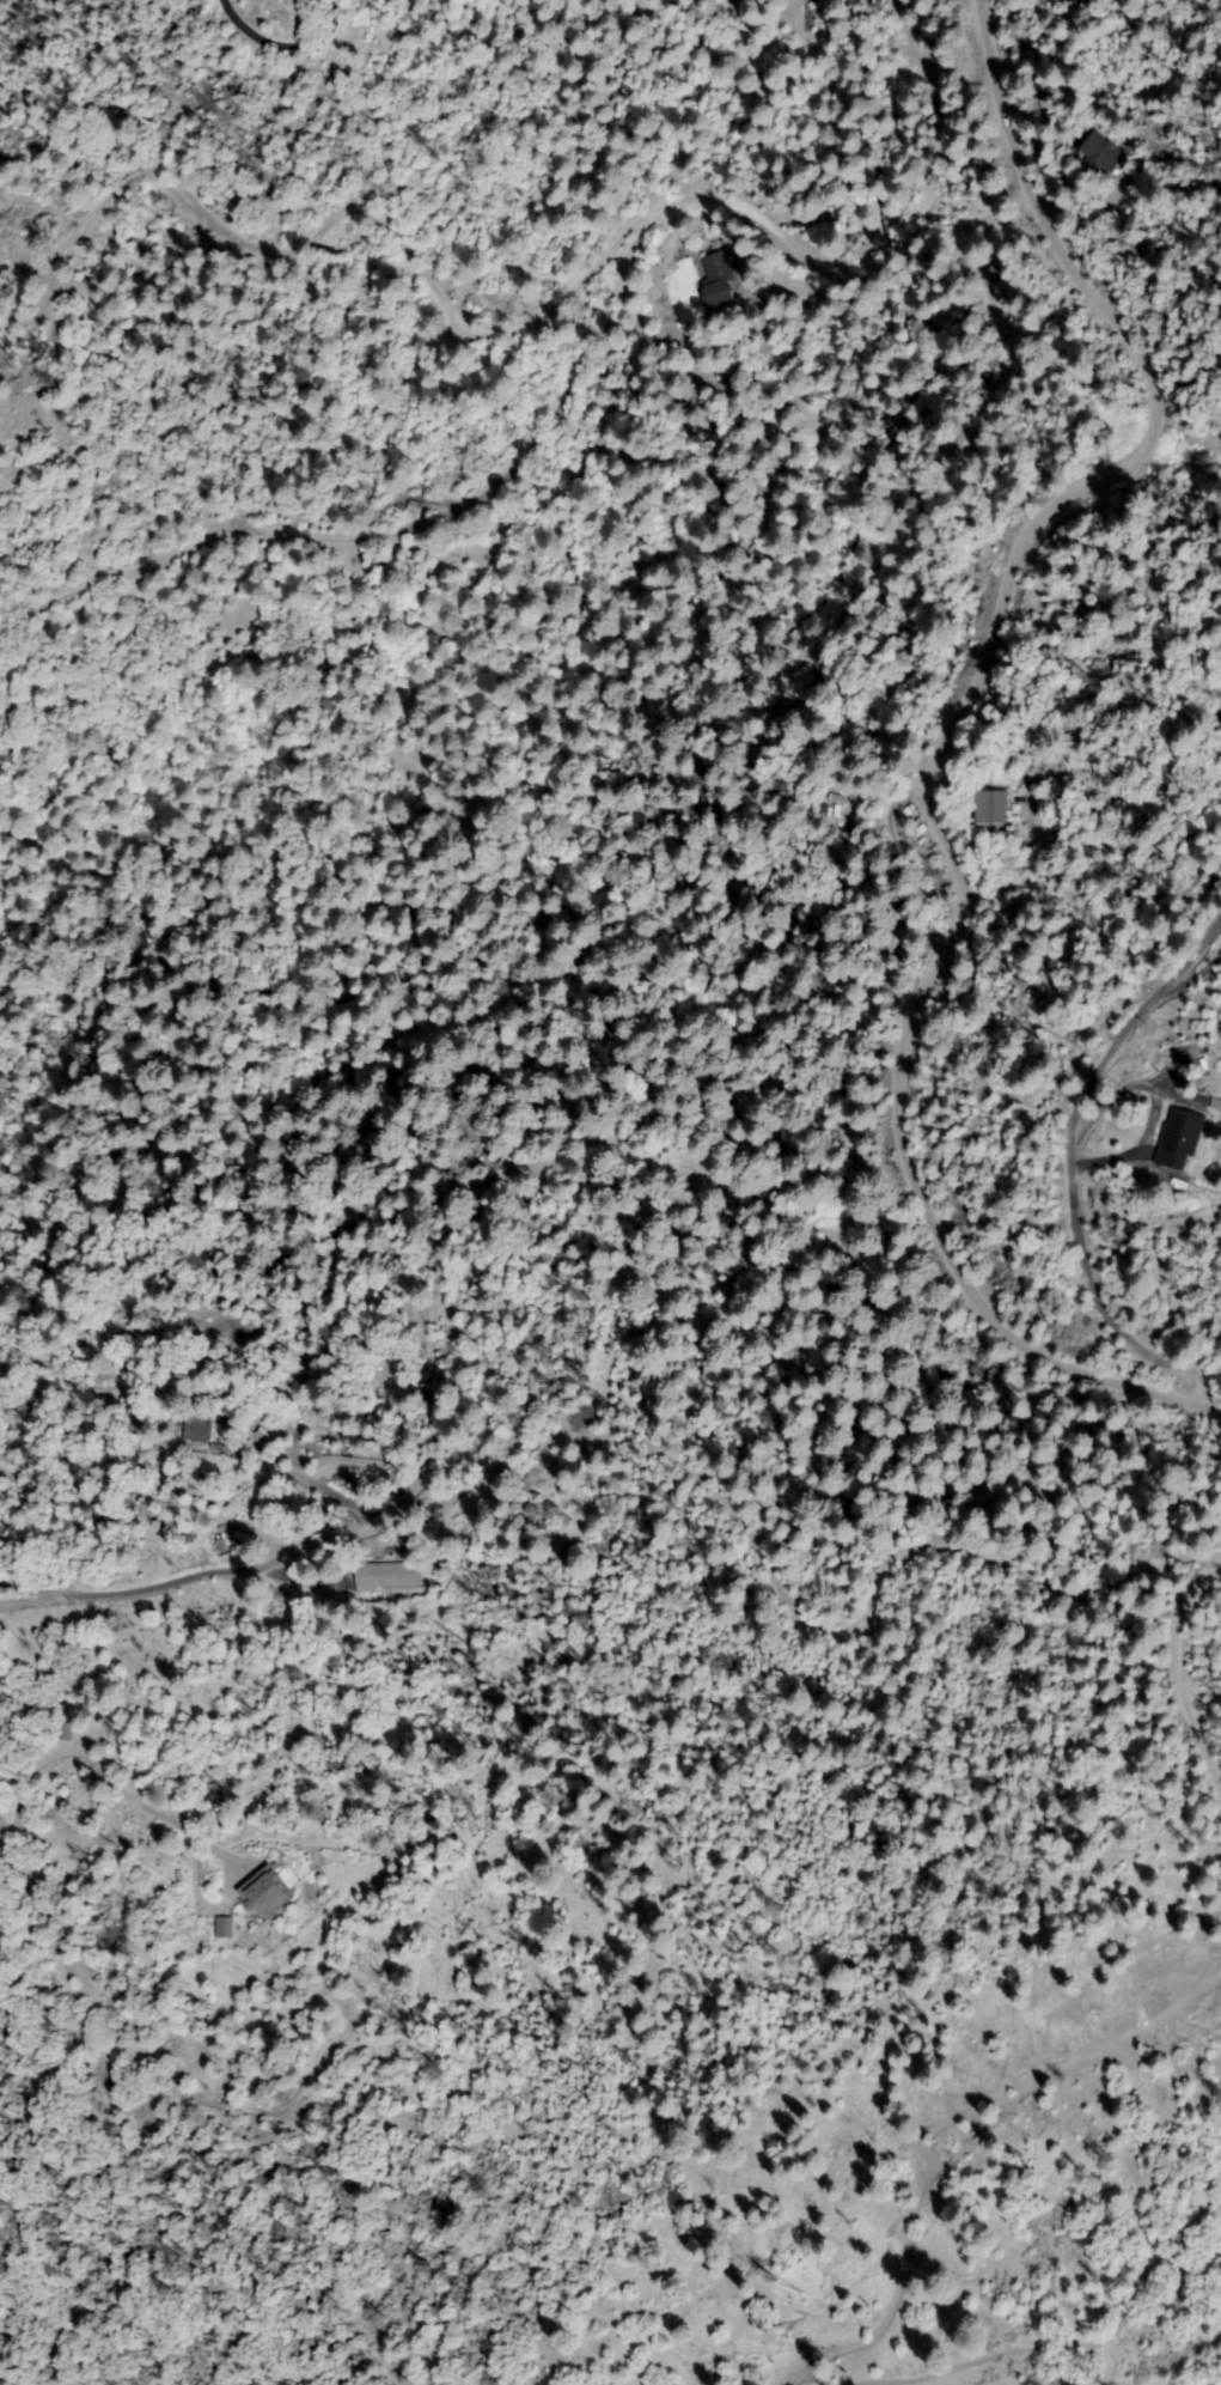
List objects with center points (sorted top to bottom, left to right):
building: (1077, 1)
building: (818, 6)
building: (1100, 154)
road: (606, 224)
building: (714, 244)
building: (716, 279)
building: (813, 300)
building: (415, 507)
road: (950, 736)
building: (990, 807)
road: (761, 961)
building: (1197, 1097)
building: (1178, 1140)
building: (199, 1428)
road: (635, 1460)
road: (318, 1534)
road: (1213, 1563)
building: (384, 1576)
road: (1207, 1635)
building: (62, 1733)
building: (176, 1876)
building: (265, 1894)
building: (225, 1928)

